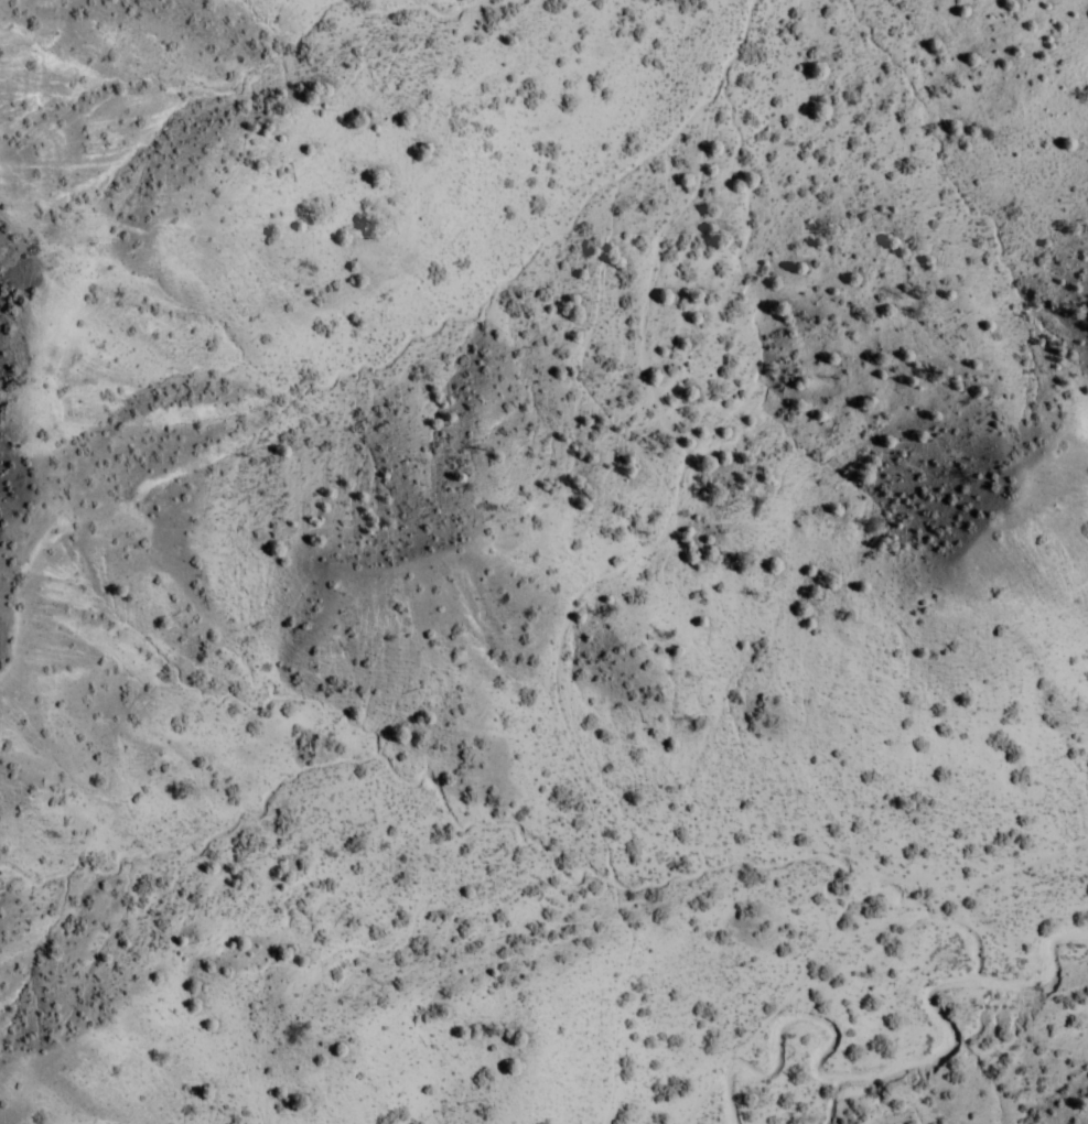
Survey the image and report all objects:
road: (863, 959)

